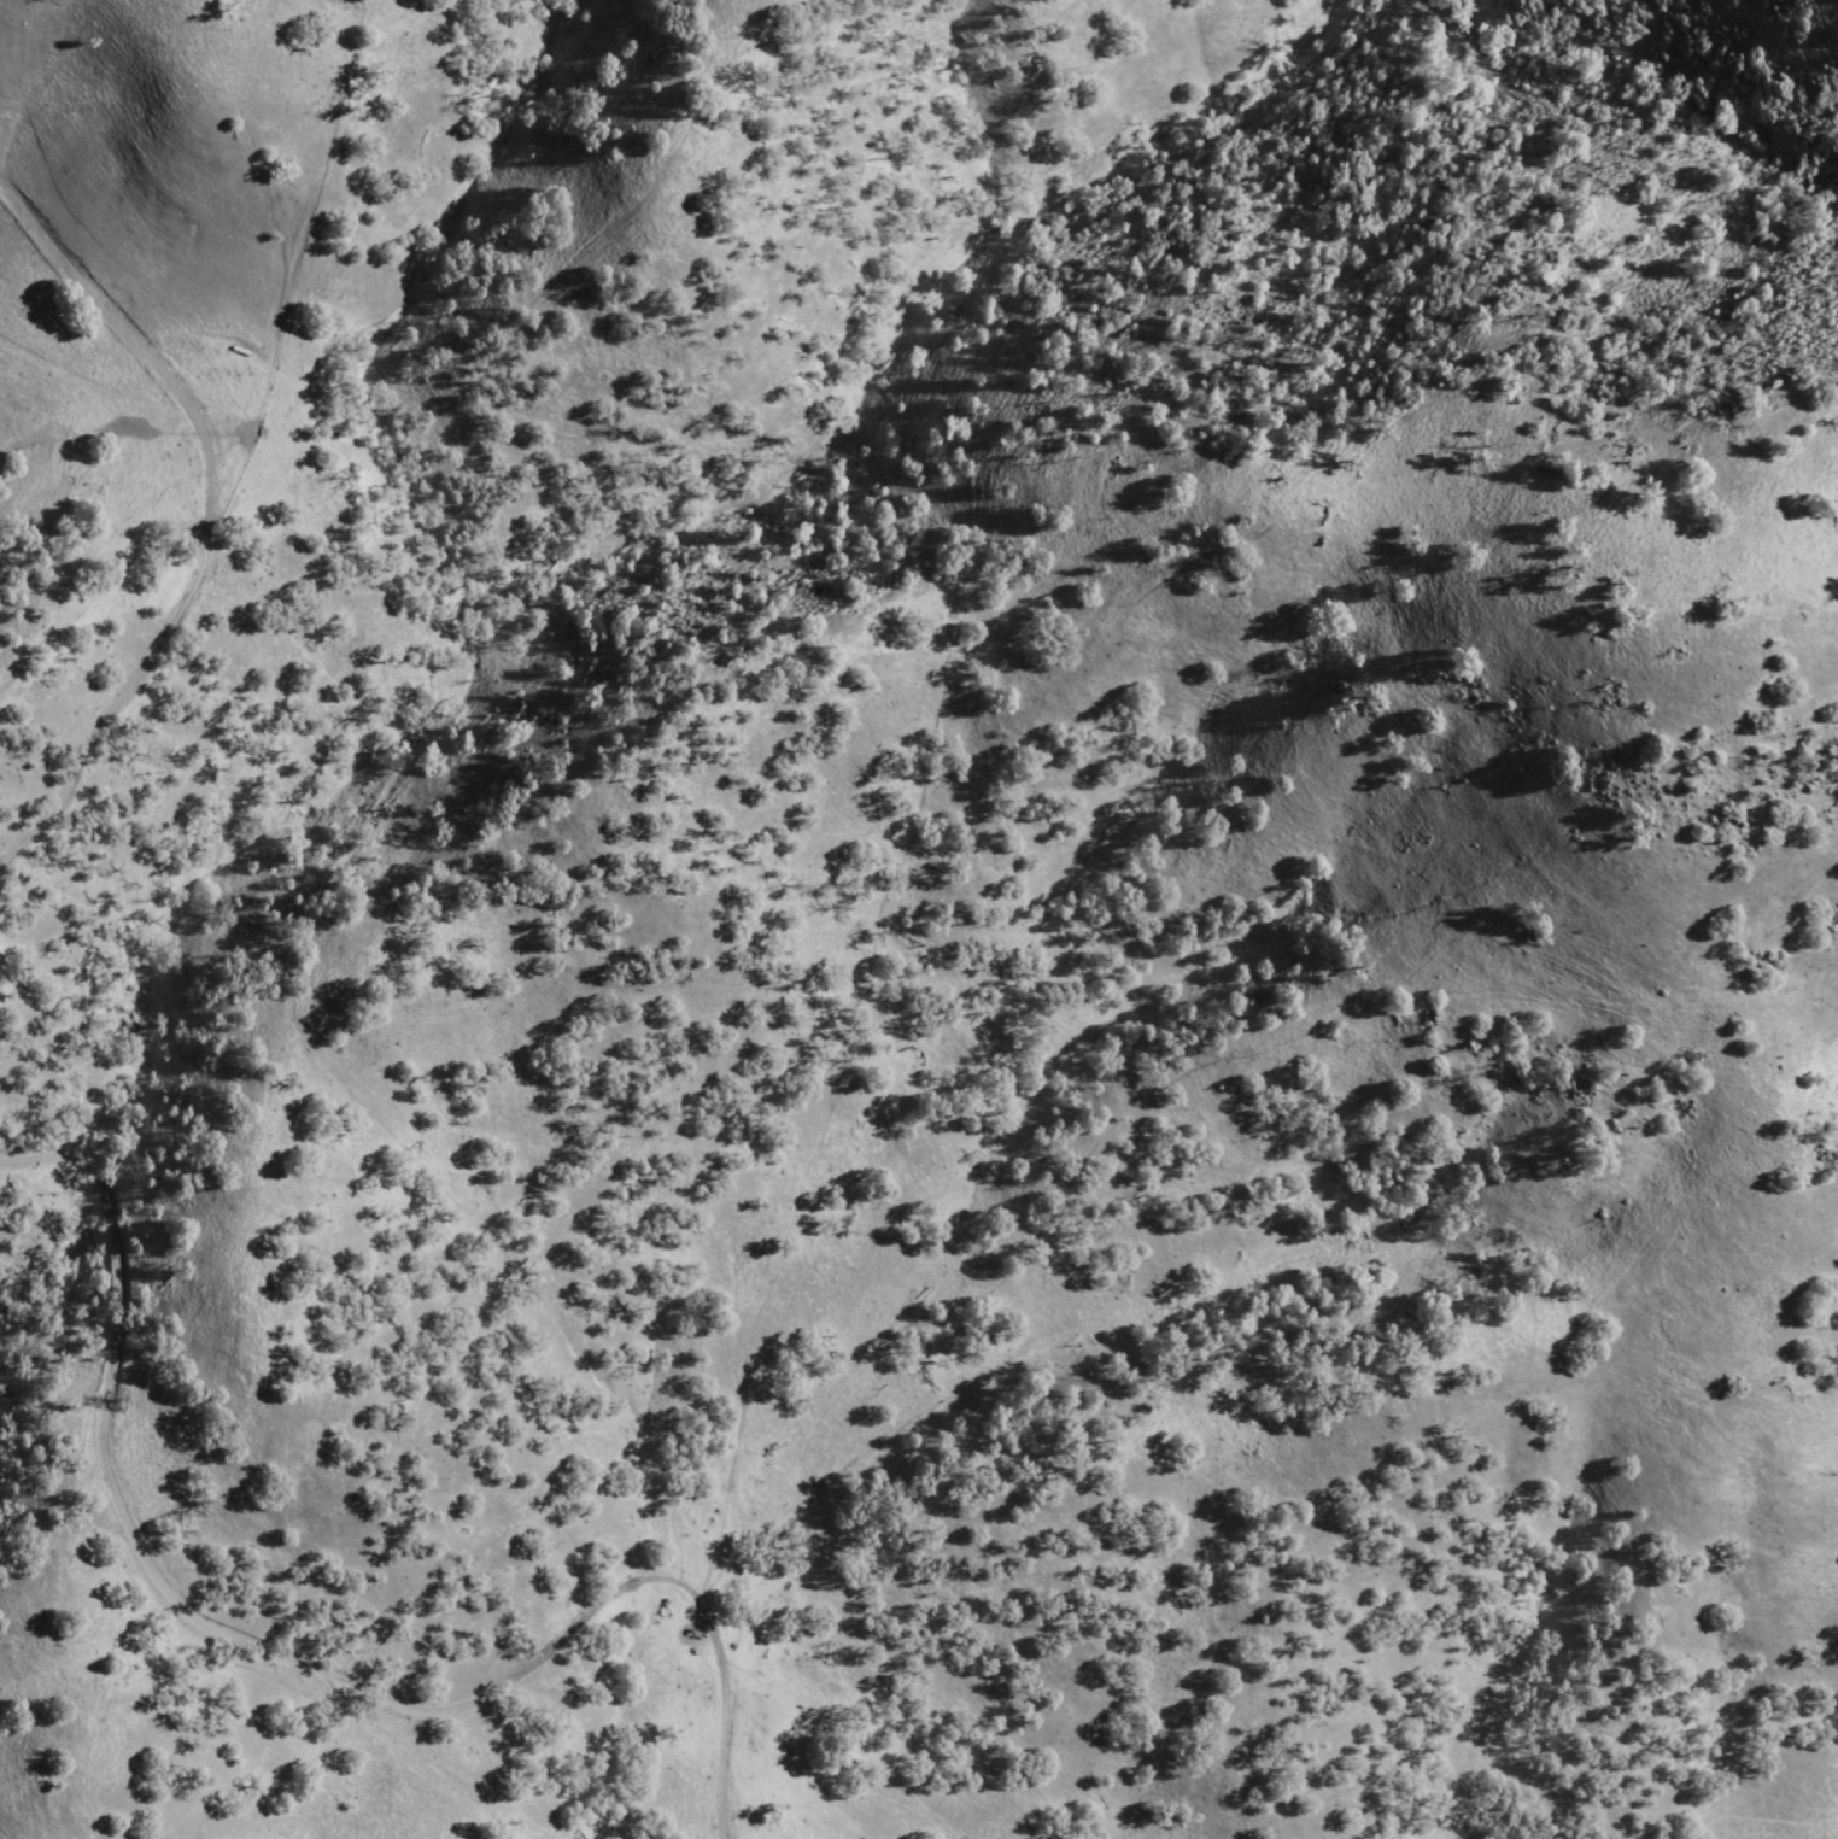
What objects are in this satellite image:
road: (265, 539)
road: (109, 1482)

